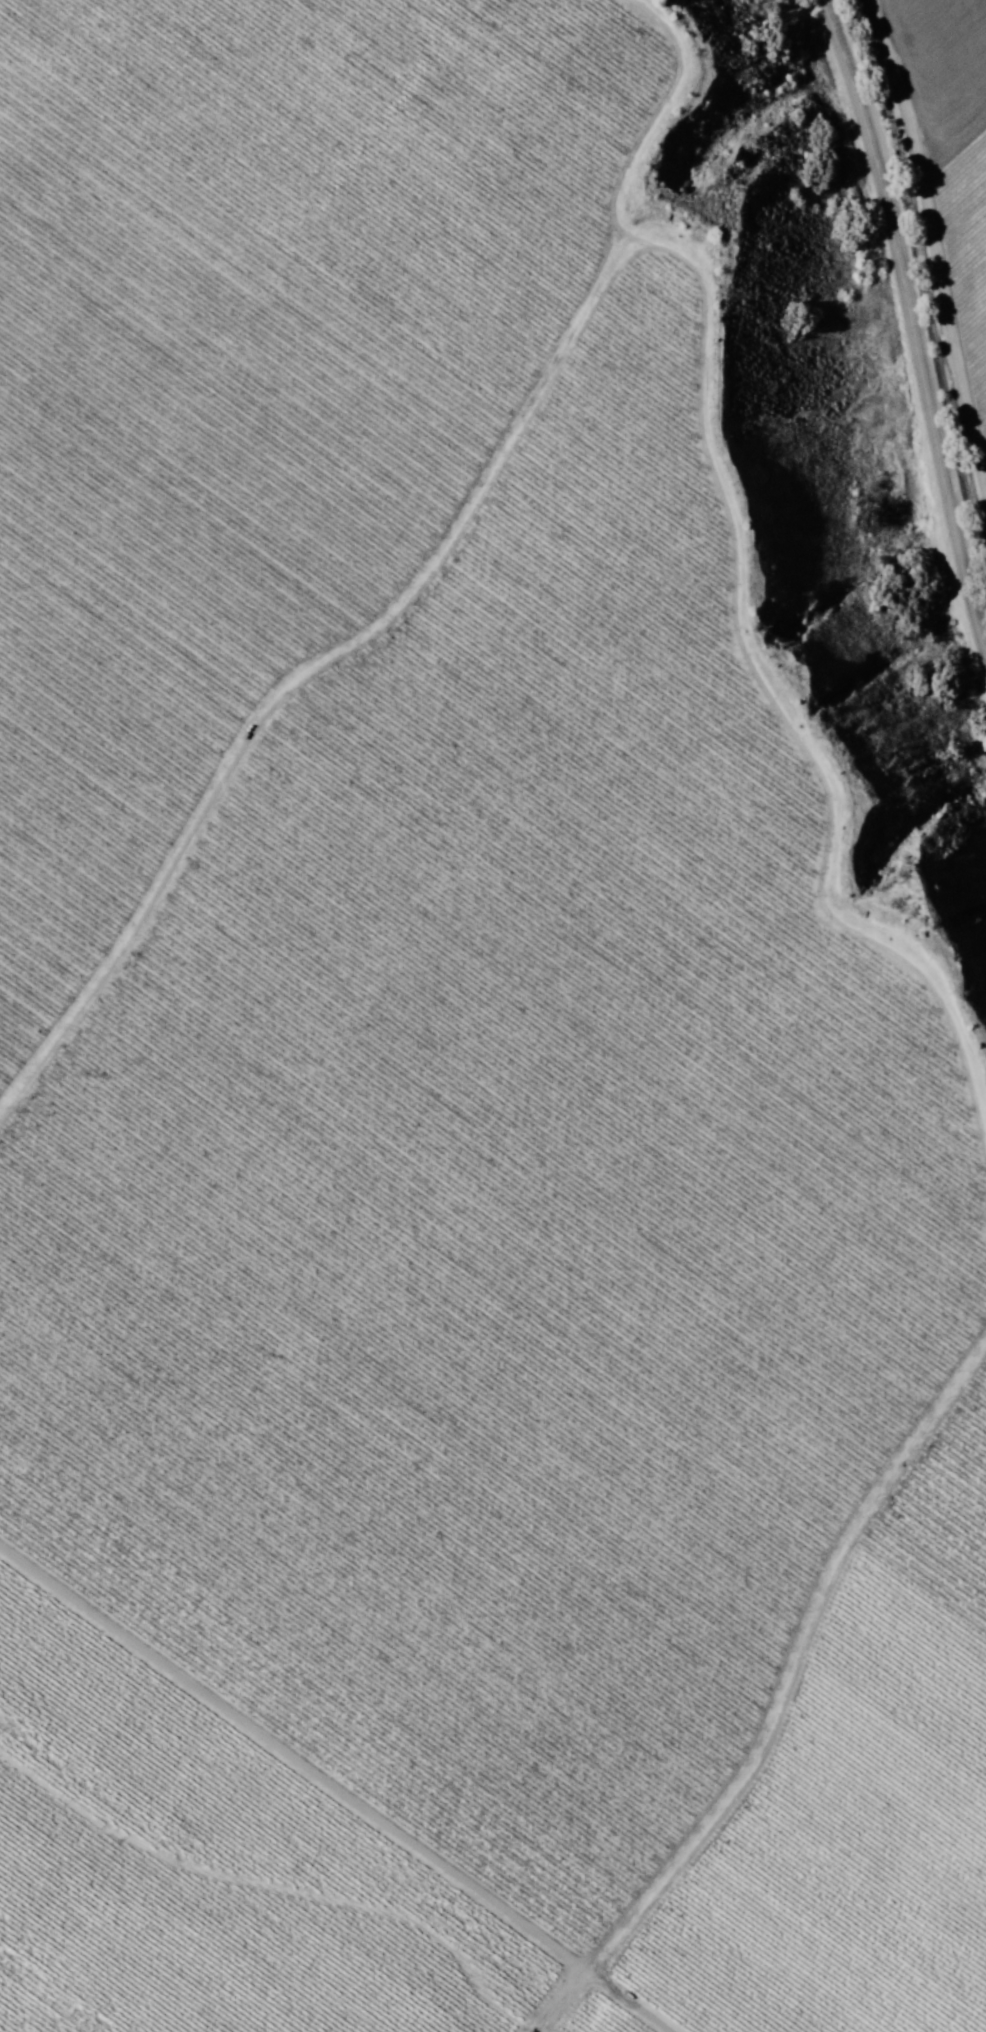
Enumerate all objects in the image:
road: (912, 322)
road: (286, 1766)

